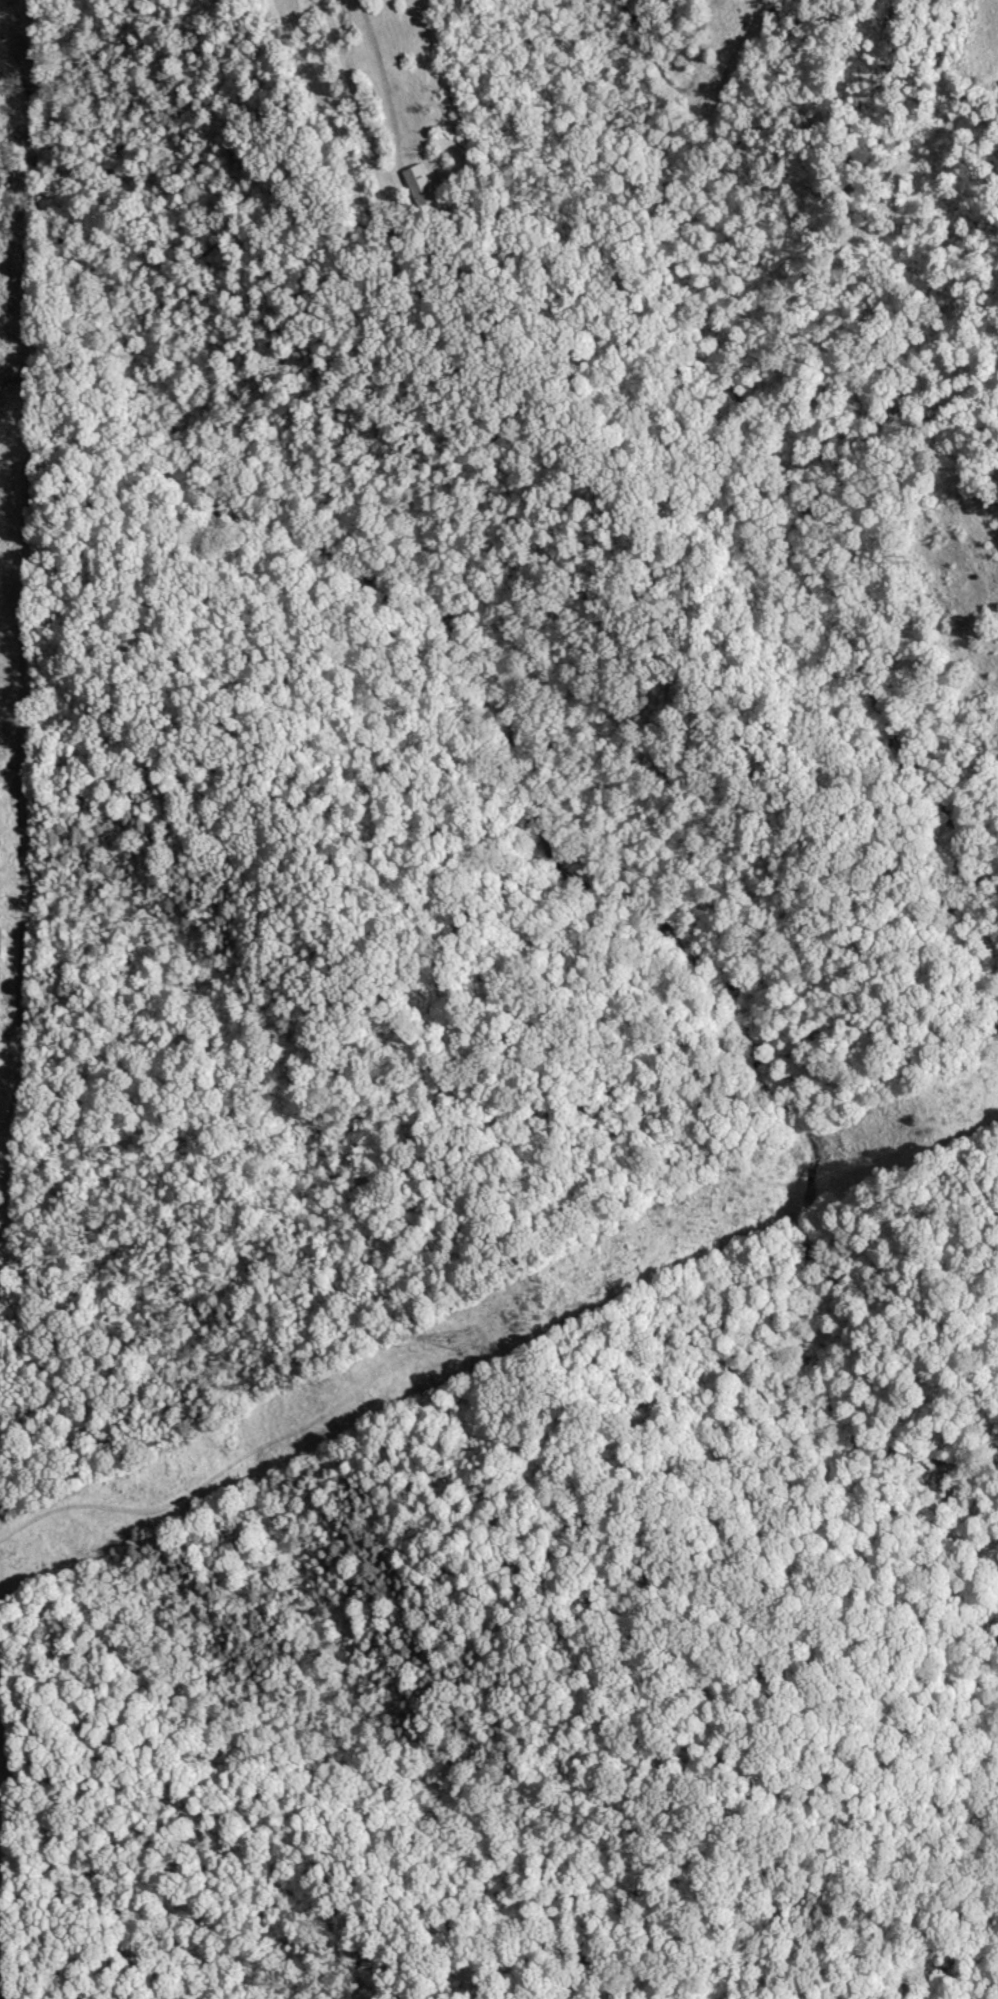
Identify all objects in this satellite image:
building: (422, 186)
power tower: (463, 1338)

